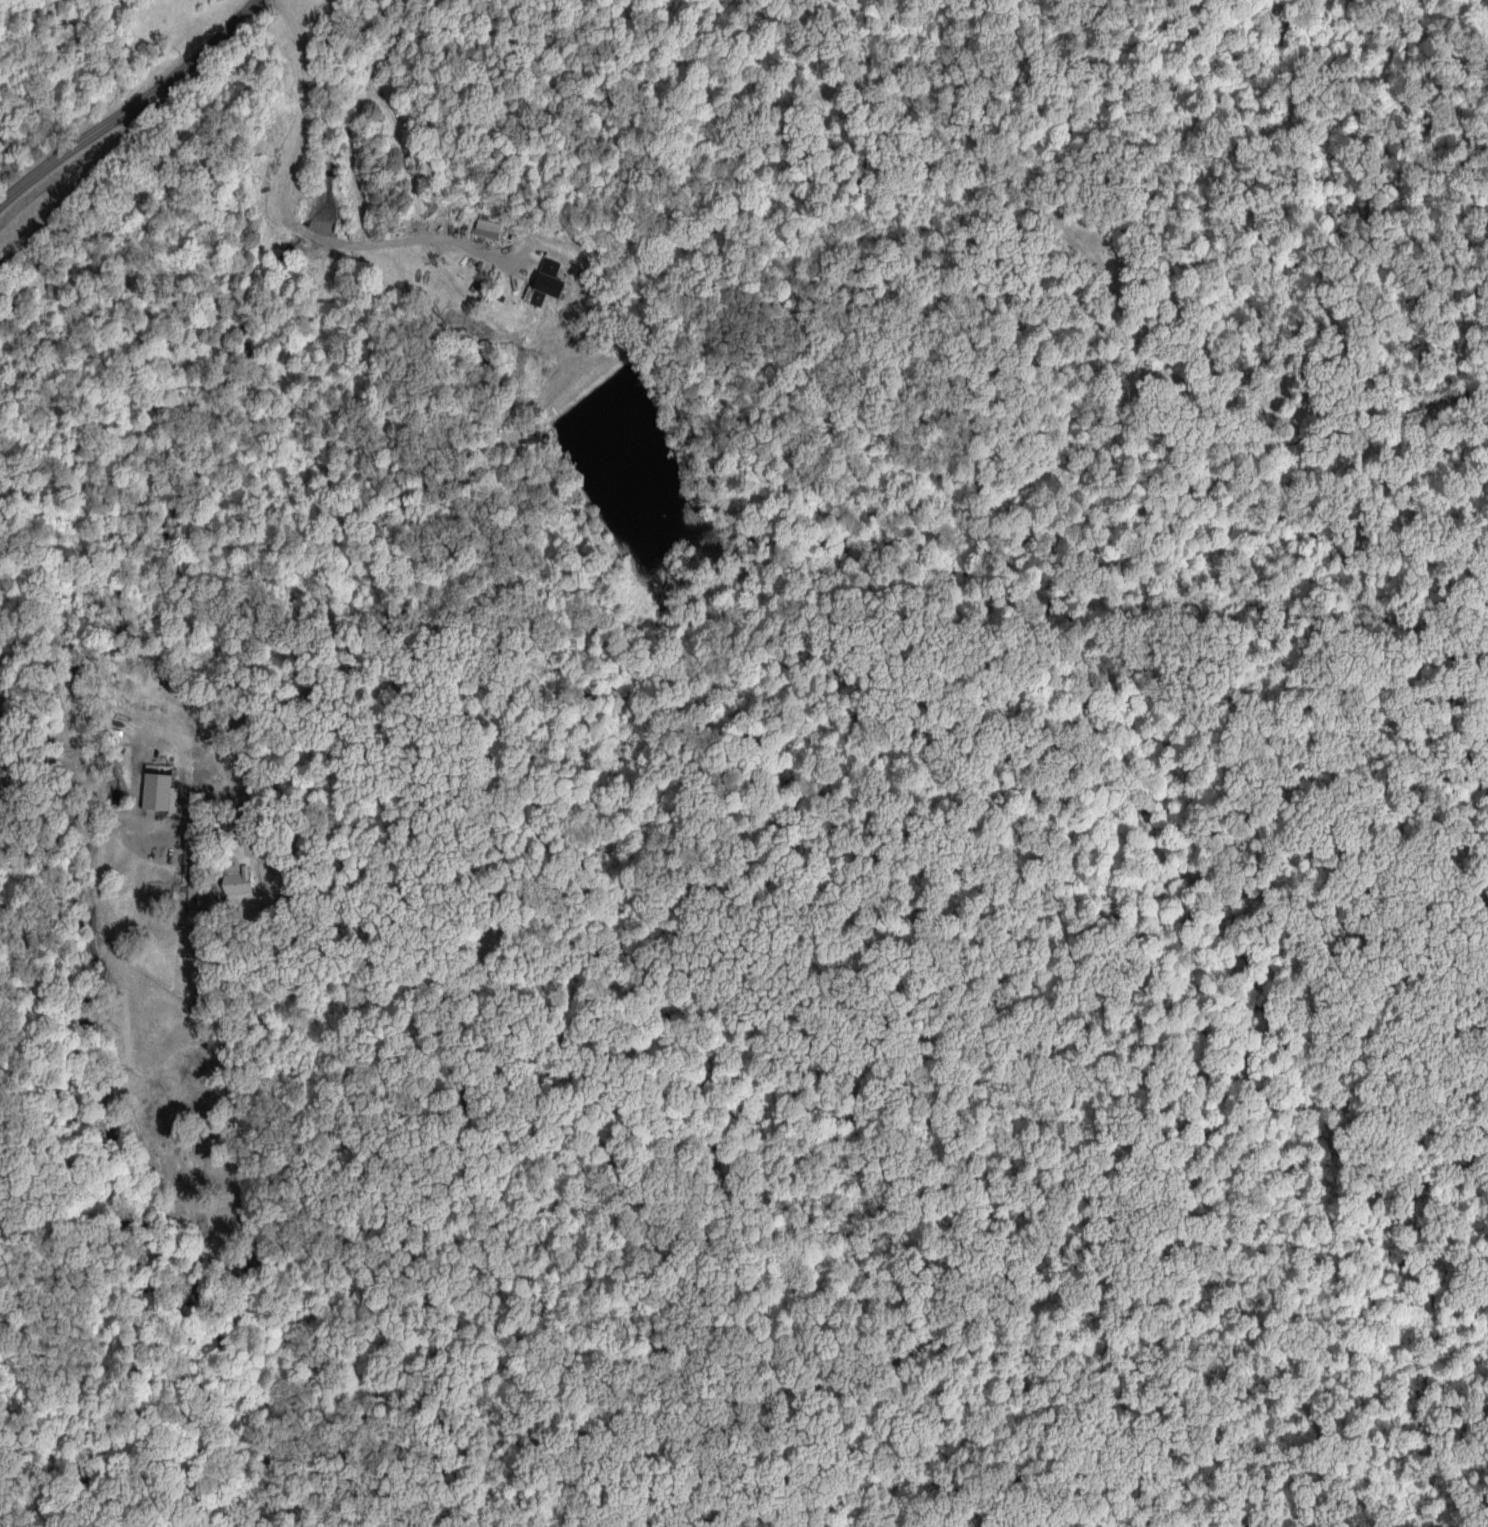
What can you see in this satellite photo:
road: (131, 105)
road: (288, 220)
building: (487, 227)
building: (546, 281)
building: (159, 787)
building: (236, 880)

